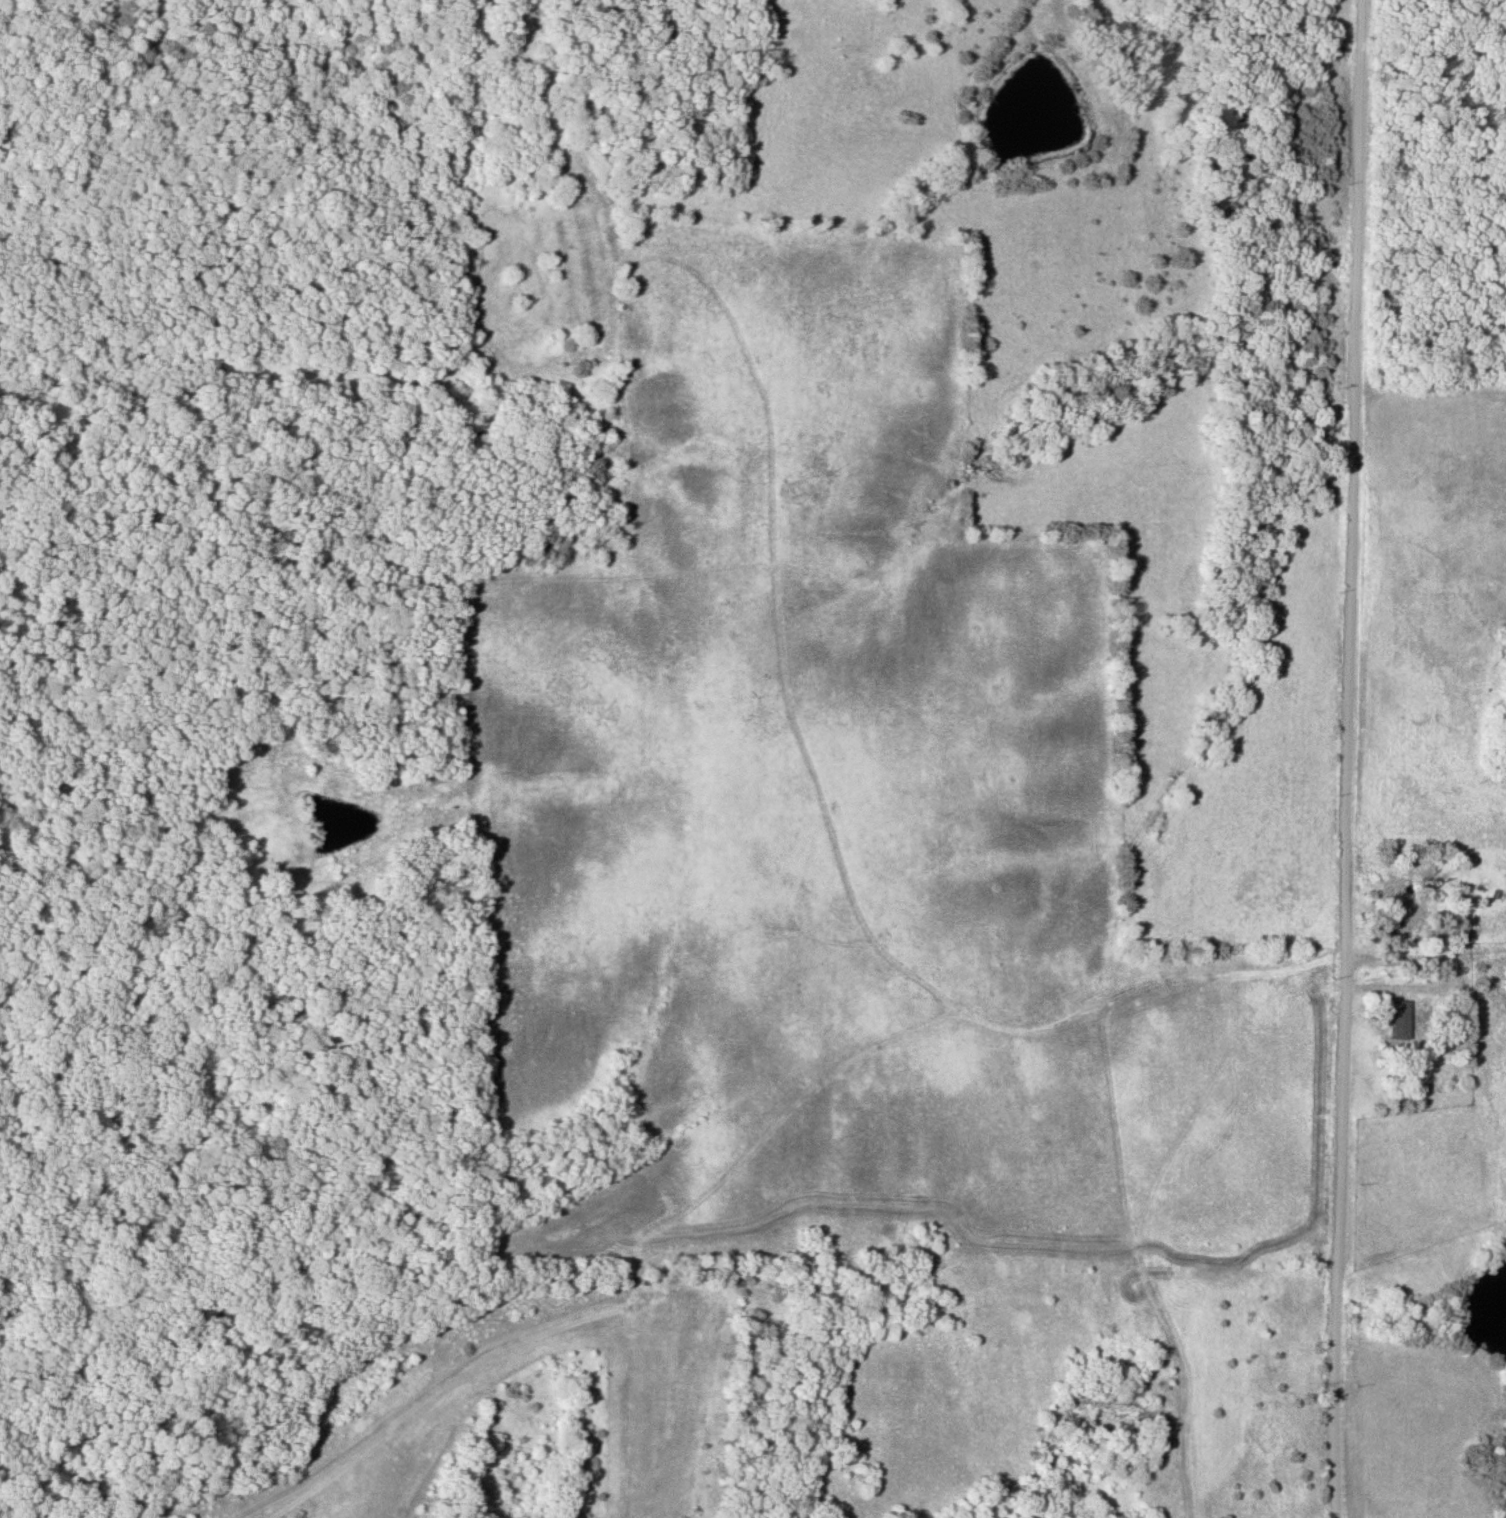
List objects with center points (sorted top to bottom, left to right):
road: (1356, 759)
building: (1402, 918)
building: (1398, 1022)

